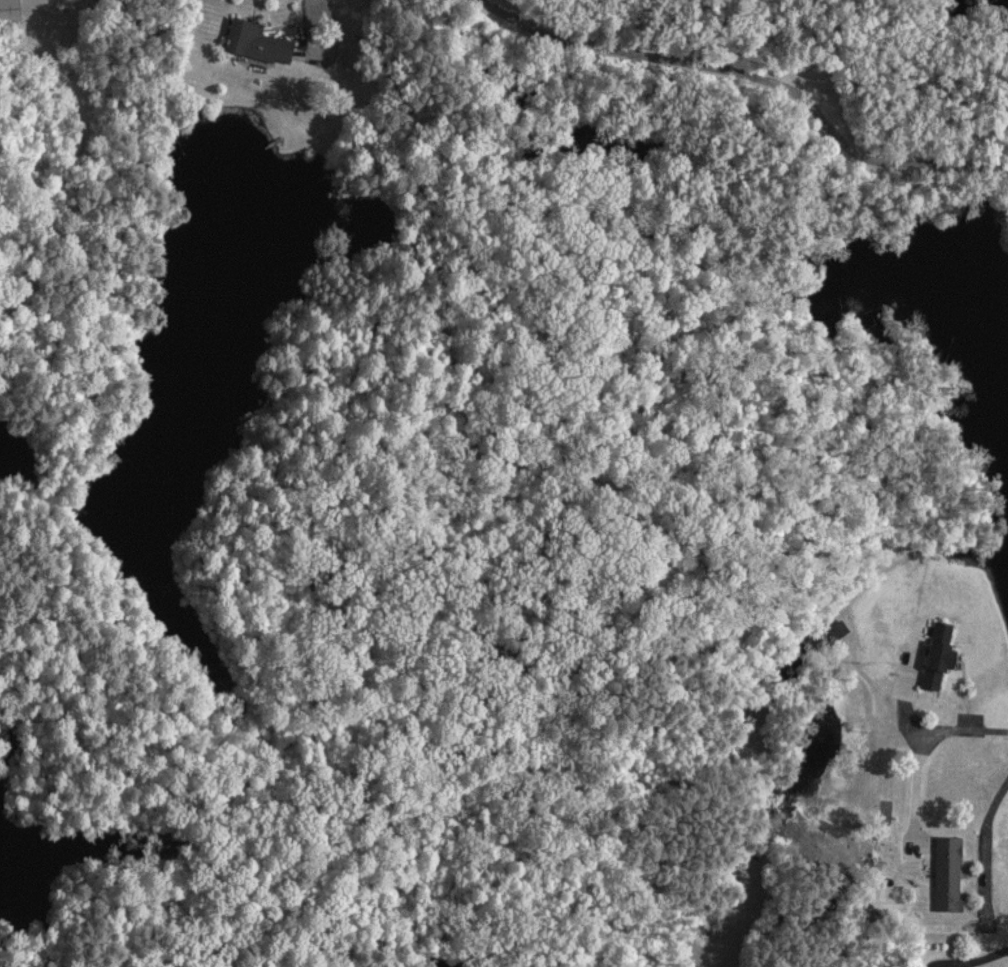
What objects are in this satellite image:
building: (8, 12)
building: (253, 41)
road: (755, 93)
building: (835, 630)
building: (935, 654)
road: (928, 751)
road: (985, 841)
building: (945, 874)
road: (988, 957)

